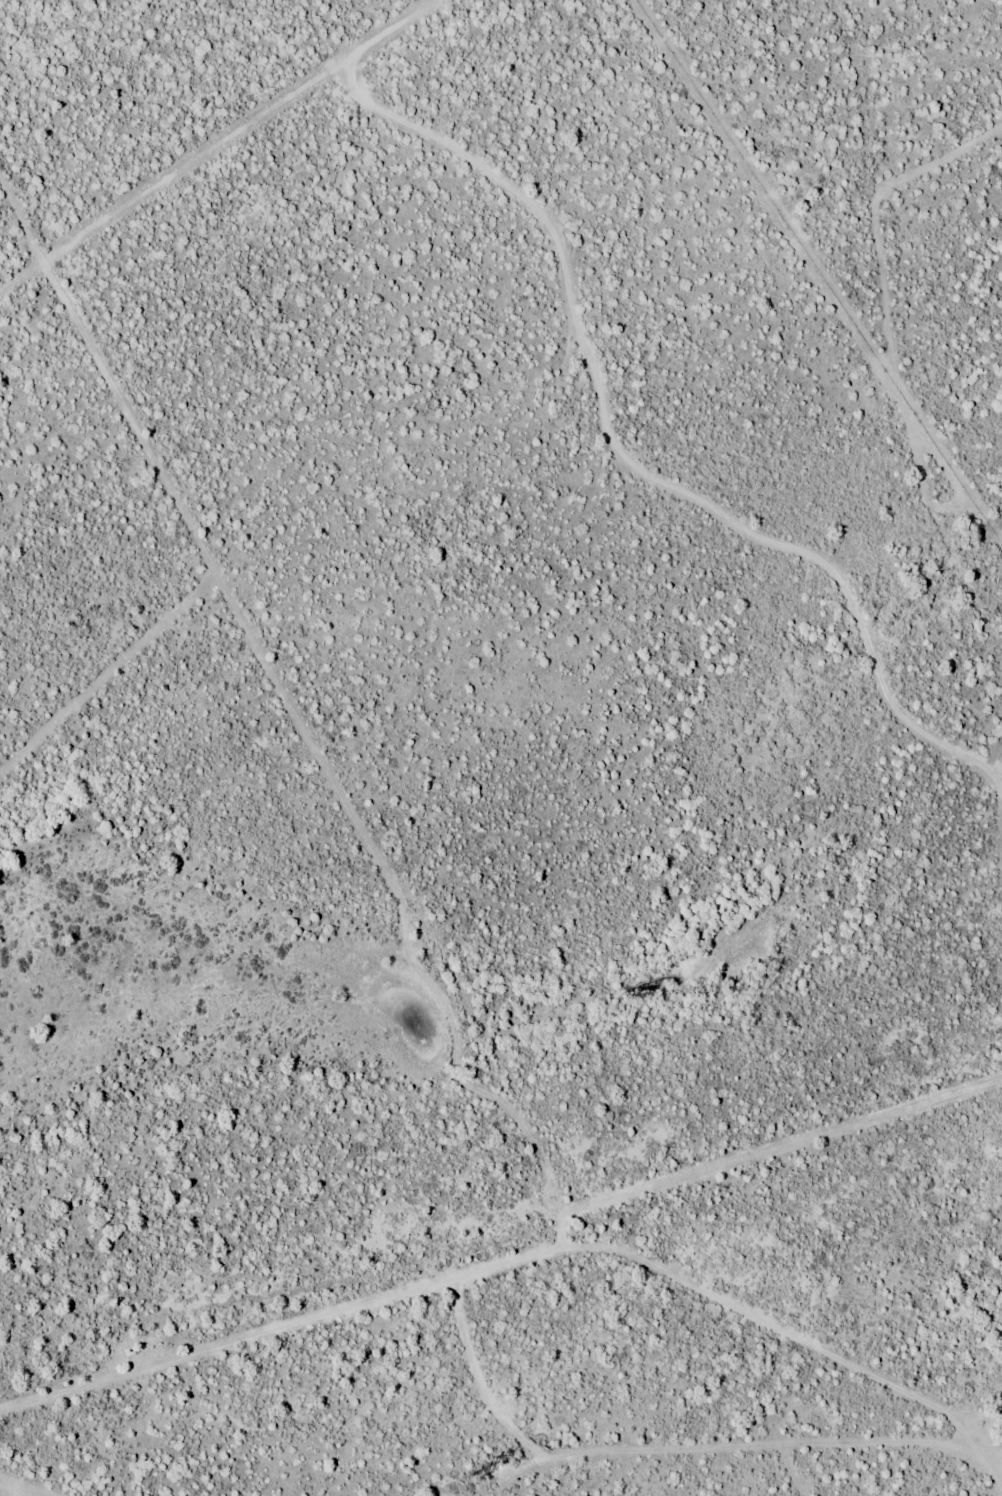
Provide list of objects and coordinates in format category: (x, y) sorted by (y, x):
road: (896, 340)

